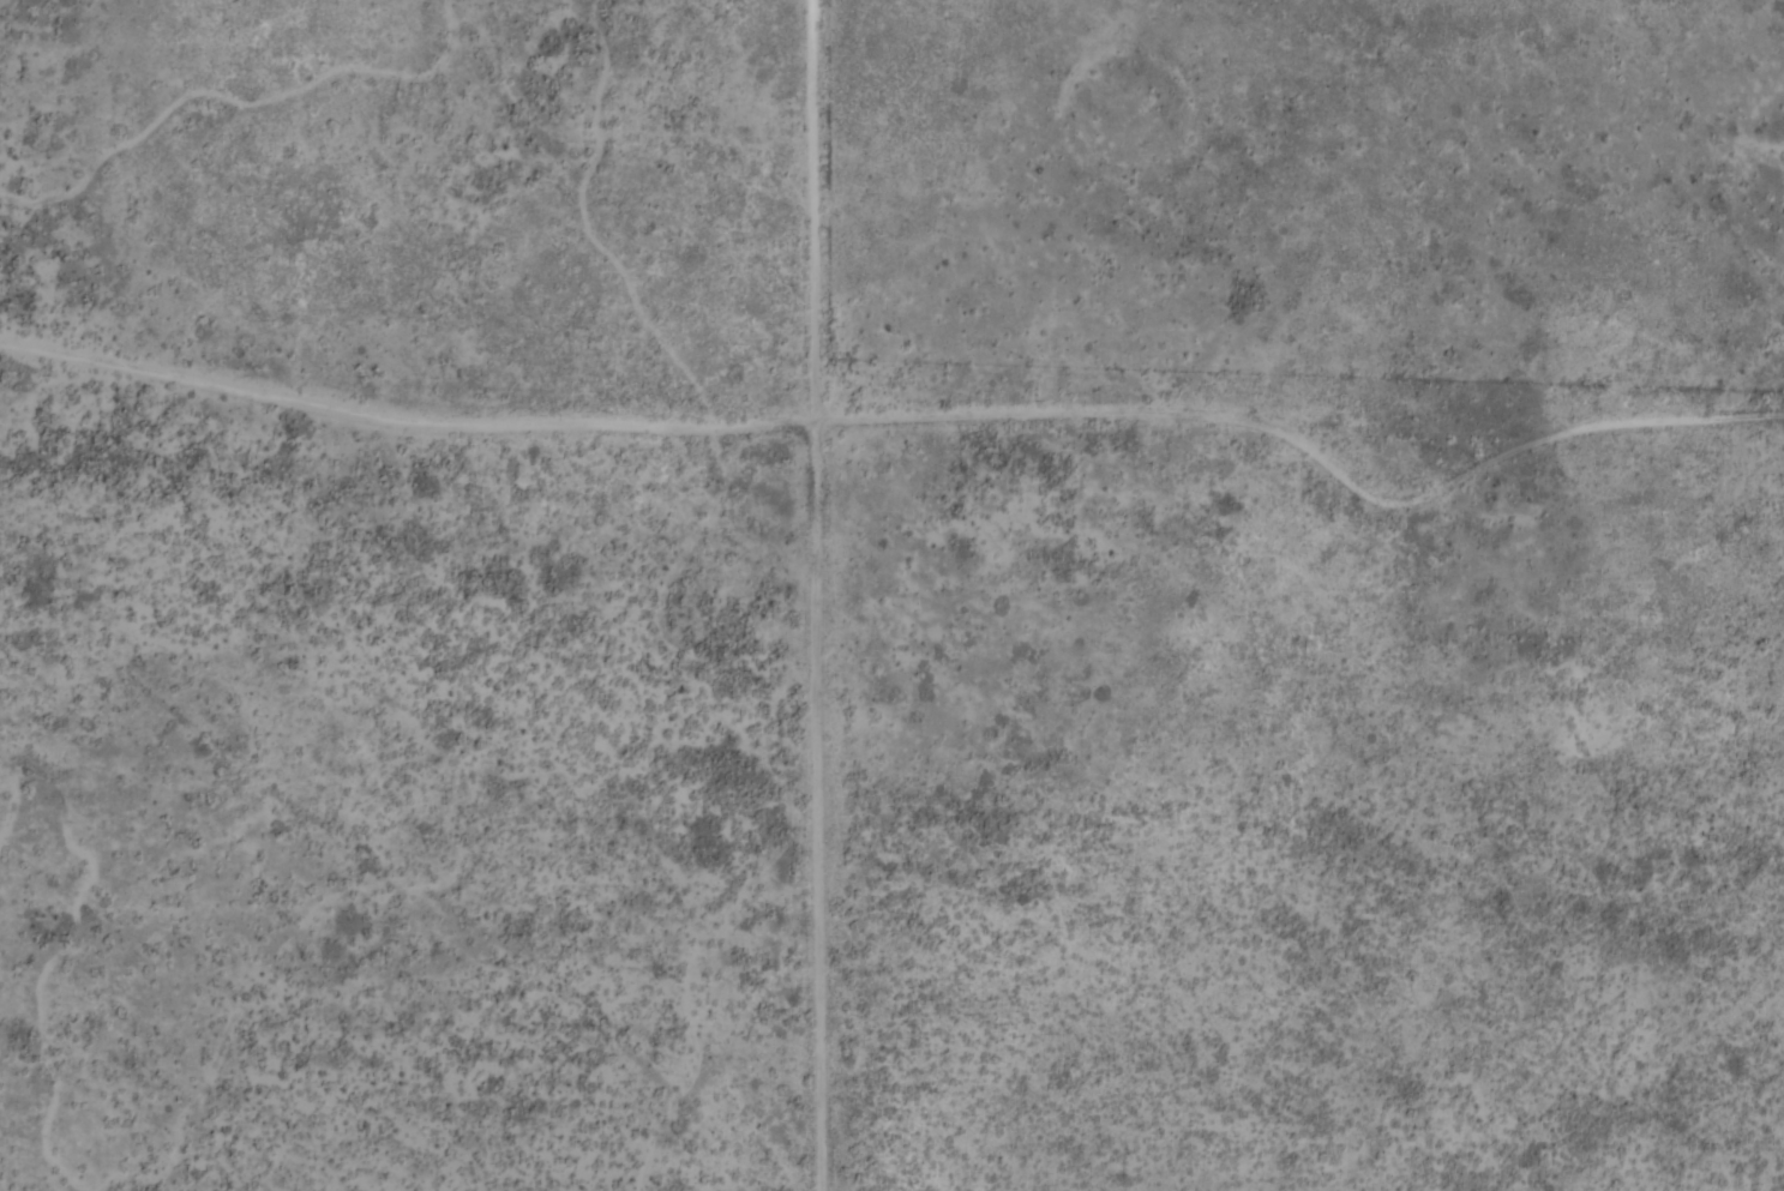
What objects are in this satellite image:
road: (1298, 441)
road: (815, 595)

